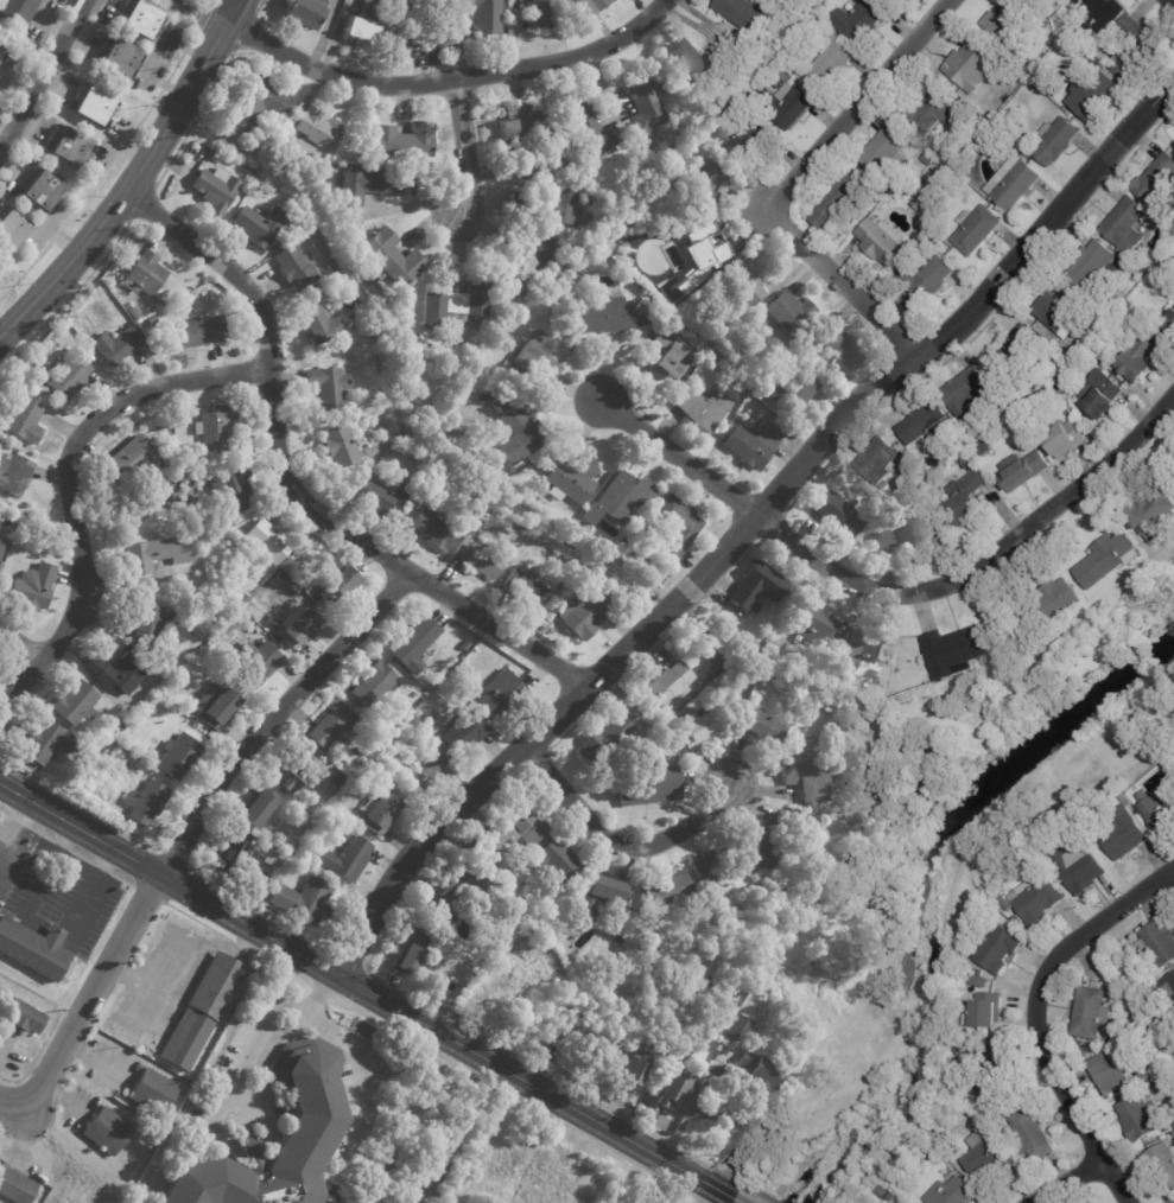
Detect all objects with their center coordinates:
road: (1168, 4)
building: (592, 5)
road: (258, 6)
building: (368, 6)
building: (18, 9)
road: (209, 11)
road: (235, 11)
building: (304, 11)
building: (1096, 12)
road: (203, 14)
building: (541, 14)
building: (745, 15)
building: (484, 18)
building: (1004, 18)
building: (141, 19)
building: (858, 19)
building: (427, 23)
building: (358, 30)
road: (243, 31)
building: (793, 31)
building: (1140, 43)
building: (0, 50)
building: (0, 52)
building: (119, 56)
building: (831, 59)
building: (697, 64)
building: (966, 64)
building: (1116, 66)
building: (1048, 69)
building: (1091, 69)
building: (785, 75)
road: (43, 76)
building: (1018, 77)
road: (450, 82)
building: (1093, 95)
building: (643, 101)
building: (785, 103)
building: (95, 106)
building: (258, 106)
road: (856, 108)
building: (932, 109)
road: (195, 119)
building: (521, 121)
building: (588, 127)
building: (317, 128)
building: (622, 129)
building: (745, 139)
building: (402, 140)
building: (1049, 140)
building: (71, 147)
building: (883, 148)
building: (300, 149)
road: (461, 149)
building: (361, 155)
building: (212, 157)
building: (927, 158)
road: (106, 170)
building: (1156, 179)
building: (1008, 180)
building: (706, 183)
building: (373, 184)
building: (215, 187)
road: (127, 189)
building: (42, 191)
building: (878, 196)
building: (832, 199)
building: (912, 200)
road: (140, 204)
building: (546, 205)
building: (259, 223)
building: (1122, 224)
building: (970, 227)
building: (11, 230)
building: (876, 240)
building: (697, 244)
building: (393, 257)
building: (525, 263)
building: (1090, 263)
building: (294, 265)
building: (1167, 265)
building: (331, 269)
building: (147, 275)
building: (924, 276)
building: (738, 285)
road: (845, 291)
road: (66, 298)
building: (455, 304)
building: (1059, 311)
building: (789, 312)
building: (133, 313)
building: (601, 316)
building: (150, 320)
building: (318, 323)
building: (1167, 326)
building: (197, 332)
building: (1047, 336)
building: (114, 345)
building: (838, 345)
building: (665, 355)
building: (1021, 356)
building: (537, 358)
building: (1137, 359)
building: (34, 370)
building: (355, 370)
building: (65, 375)
building: (1059, 383)
building: (326, 386)
building: (966, 387)
building: (792, 390)
building: (1102, 394)
building: (500, 400)
building: (706, 405)
building: (24, 421)
building: (922, 421)
building: (215, 426)
building: (520, 433)
building: (1064, 439)
building: (751, 444)
building: (339, 446)
building: (984, 447)
building: (970, 452)
building: (129, 457)
road: (679, 457)
building: (876, 460)
building: (934, 462)
building: (1024, 470)
building: (13, 475)
building: (572, 477)
building: (840, 482)
building: (189, 484)
road: (291, 484)
road: (71, 488)
building: (233, 488)
building: (118, 494)
building: (174, 495)
building: (622, 496)
building: (382, 497)
building: (963, 498)
building: (1149, 508)
building: (839, 514)
building: (463, 522)
building: (675, 524)
road: (748, 526)
building: (430, 528)
building: (900, 534)
building: (267, 541)
building: (1, 543)
building: (153, 555)
building: (477, 558)
building: (1106, 560)
road: (981, 564)
building: (31, 586)
building: (336, 586)
building: (757, 586)
building: (525, 590)
building: (1051, 601)
building: (548, 615)
building: (585, 615)
building: (243, 620)
building: (812, 623)
building: (542, 624)
building: (273, 625)
building: (297, 626)
building: (150, 628)
road: (20, 644)
building: (414, 644)
building: (865, 645)
building: (954, 650)
building: (258, 663)
building: (716, 663)
building: (122, 673)
building: (459, 673)
building: (163, 679)
building: (373, 683)
building: (667, 685)
building: (500, 695)
building: (950, 695)
building: (1017, 701)
building: (74, 704)
building: (214, 704)
building: (844, 725)
building: (332, 726)
building: (119, 727)
building: (696, 728)
building: (756, 730)
building: (463, 734)
building: (603, 737)
building: (46, 743)
building: (813, 756)
building: (80, 757)
building: (177, 757)
building: (374, 768)
building: (421, 769)
building: (290, 770)
building: (388, 776)
building: (811, 779)
building: (647, 785)
building: (78, 790)
building: (144, 802)
building: (1092, 807)
building: (258, 808)
road: (4, 810)
building: (1159, 810)
building: (379, 814)
building: (795, 815)
road: (18, 819)
road: (15, 828)
road: (42, 832)
building: (1125, 834)
road: (188, 836)
building: (507, 836)
road: (61, 842)
road: (618, 844)
building: (299, 849)
building: (763, 849)
road: (81, 853)
building: (227, 858)
building: (271, 858)
building: (347, 860)
building: (557, 861)
road: (78, 864)
road: (101, 865)
building: (1078, 866)
building: (713, 868)
road: (47, 870)
road: (121, 877)
building: (753, 877)
building: (764, 880)
road: (91, 887)
road: (148, 892)
building: (461, 896)
building: (666, 896)
building: (256, 897)
building: (598, 897)
building: (1037, 900)
building: (304, 903)
building: (1008, 903)
road: (199, 922)
building: (1020, 922)
building: (514, 933)
road: (1096, 933)
road: (179, 940)
building: (1159, 943)
building: (998, 947)
road: (245, 948)
building: (34, 949)
building: (412, 953)
building: (66, 968)
road: (283, 970)
building: (979, 981)
building: (216, 985)
building: (1168, 988)
road: (319, 991)
road: (367, 991)
building: (741, 997)
building: (764, 1002)
road: (144, 1006)
building: (984, 1013)
building: (1089, 1014)
building: (20, 1016)
building: (717, 1029)
building: (741, 1029)
building: (185, 1038)
building: (567, 1044)
building: (1105, 1045)
road: (6, 1046)
building: (1168, 1051)
road: (249, 1052)
road: (350, 1052)
building: (601, 1054)
road: (34, 1055)
building: (969, 1057)
road: (96, 1059)
building: (1162, 1064)
building: (633, 1071)
building: (1146, 1072)
building: (1108, 1074)
building: (762, 1077)
building: (997, 1077)
building: (1151, 1086)
building: (673, 1089)
building: (153, 1090)
road: (518, 1097)
road: (245, 1101)
road: (1073, 1108)
road: (722, 1113)
building: (1138, 1119)
building: (310, 1126)
building: (106, 1131)
building: (1030, 1134)
building: (392, 1160)
building: (988, 1163)
building: (1162, 1167)
road: (1065, 1180)
building: (15, 1185)
building: (950, 1192)
building: (886, 1195)
building: (1173, 1199)
road: (738, 1201)
building: (1173, 1202)

